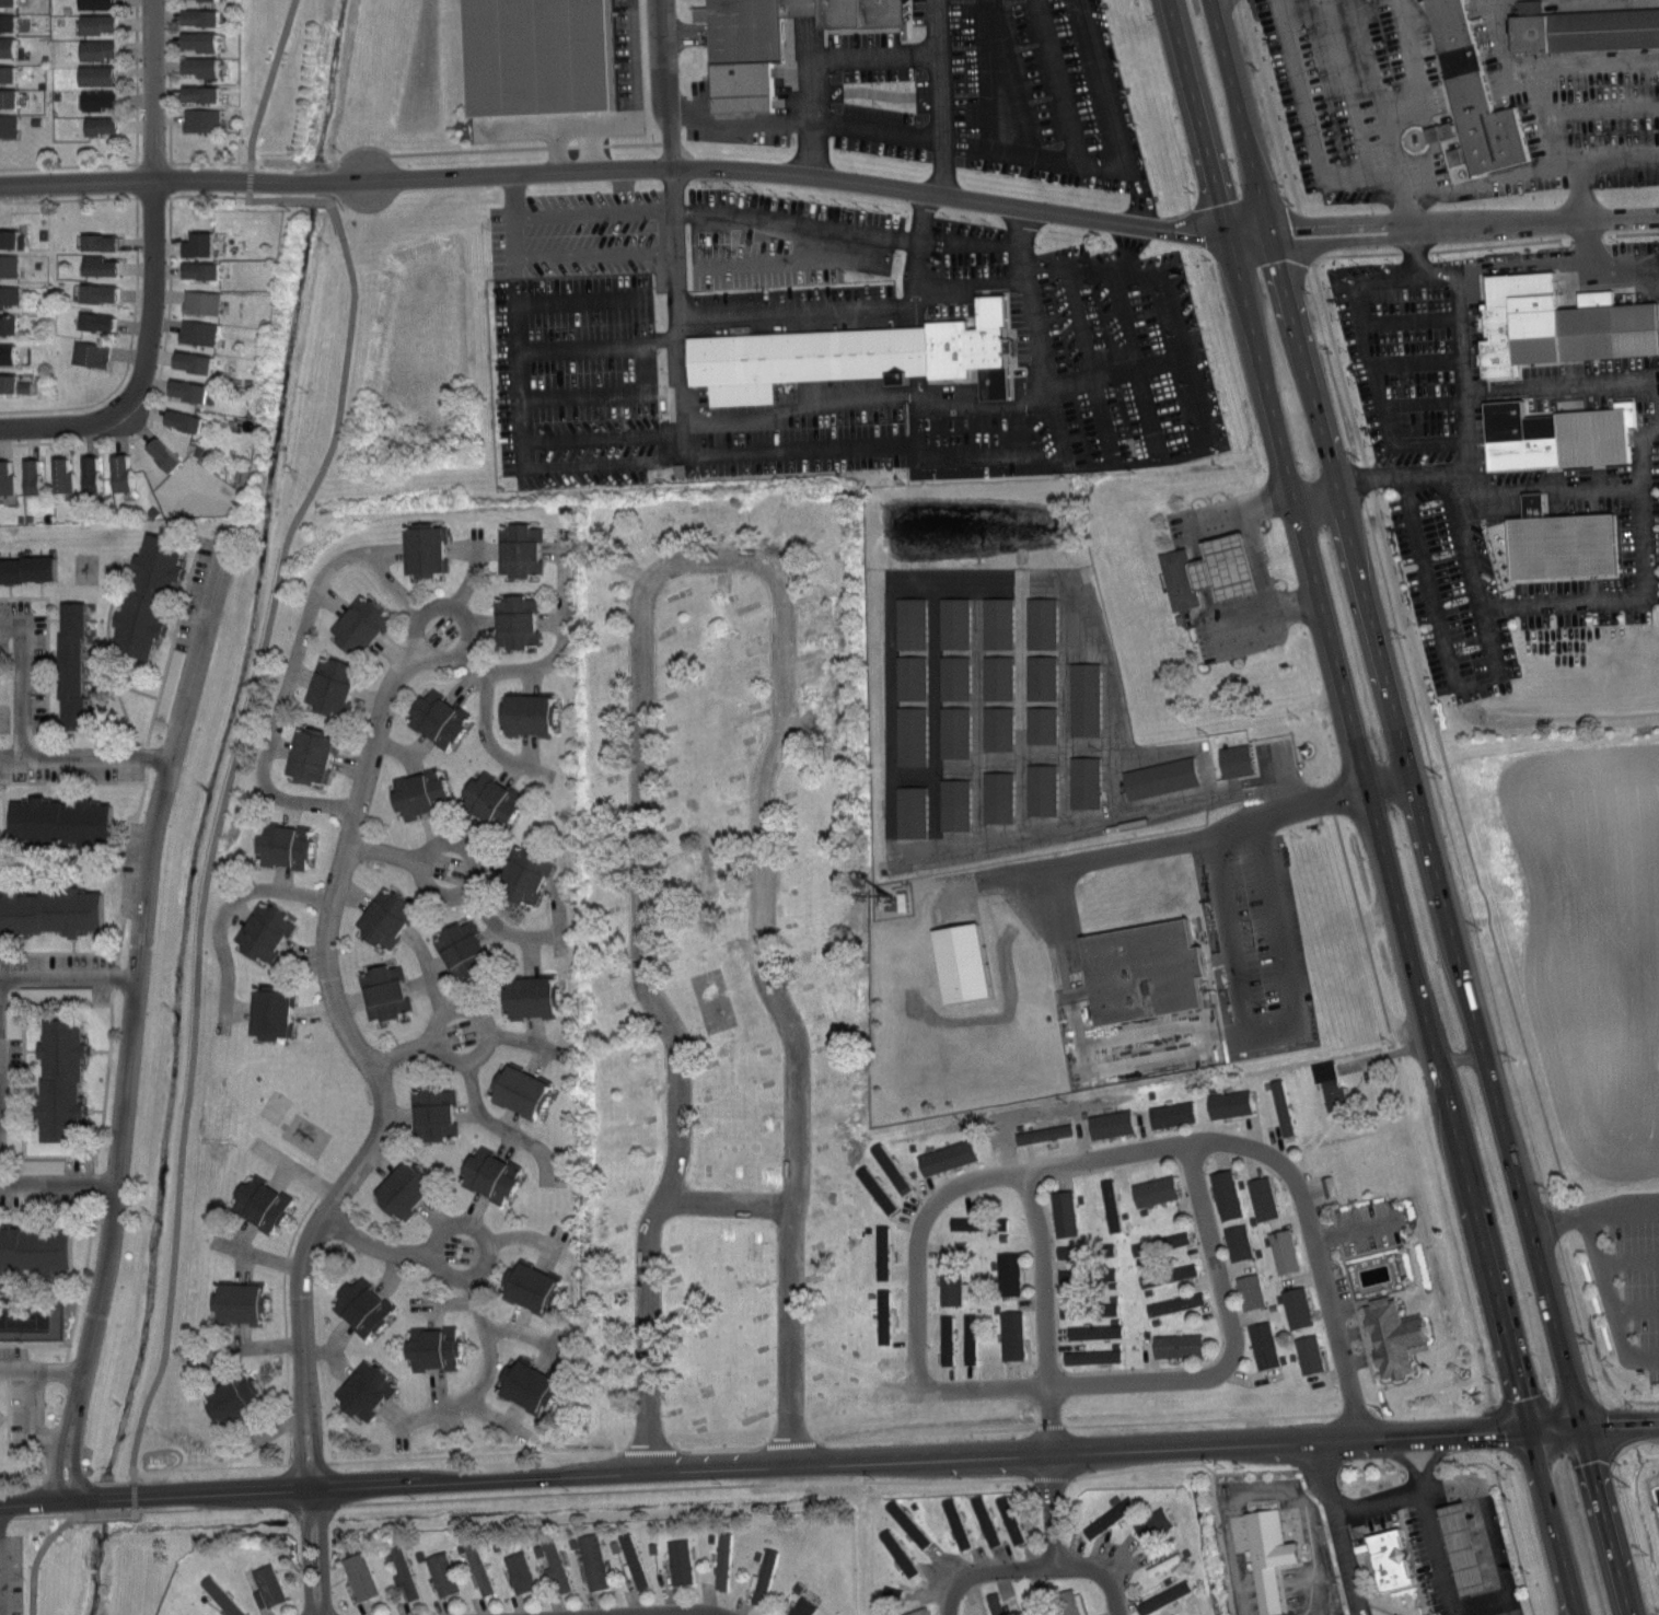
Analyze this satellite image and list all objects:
building: (7, 1)
building: (90, 4)
building: (195, 18)
building: (11, 23)
building: (91, 24)
building: (1580, 28)
road: (677, 31)
building: (195, 40)
building: (766, 42)
building: (12, 47)
building: (92, 49)
building: (538, 54)
road: (871, 58)
building: (197, 67)
building: (11, 74)
building: (91, 74)
road: (137, 82)
road: (664, 83)
building: (196, 93)
road: (936, 96)
building: (11, 97)
building: (1466, 97)
building: (92, 100)
road: (810, 101)
road: (1058, 107)
road: (1401, 112)
road: (630, 113)
road: (1116, 113)
road: (170, 116)
road: (1197, 118)
building: (198, 119)
road: (1239, 119)
road: (794, 124)
building: (95, 125)
building: (9, 126)
road: (602, 143)
road: (1551, 151)
road: (427, 152)
road: (1613, 155)
road: (67, 164)
road: (637, 169)
road: (1577, 179)
road: (68, 199)
traffic signals: (1218, 199)
road: (152, 213)
road: (921, 216)
road: (1464, 226)
road: (844, 230)
traffic signals: (1194, 234)
traffic signals: (1306, 235)
building: (12, 240)
building: (96, 240)
building: (194, 242)
traffic signals: (1276, 260)
building: (97, 265)
building: (10, 266)
building: (196, 268)
road: (1278, 270)
road: (1539, 272)
road: (1622, 276)
building: (96, 291)
building: (10, 295)
road: (676, 295)
building: (198, 301)
building: (92, 319)
building: (12, 325)
building: (194, 330)
building: (1565, 333)
road: (1174, 348)
road: (1299, 349)
building: (86, 352)
road: (162, 352)
building: (11, 353)
park: (382, 353)
road: (129, 355)
building: (850, 355)
building: (188, 360)
road: (1040, 364)
building: (13, 384)
building: (182, 388)
road: (1658, 395)
road: (798, 400)
road: (518, 413)
building: (177, 418)
road: (56, 423)
road: (1467, 423)
building: (1553, 434)
building: (156, 452)
building: (86, 472)
building: (117, 473)
building: (27, 474)
building: (58, 474)
building: (5, 477)
road: (1576, 485)
building: (1557, 541)
building: (427, 549)
building: (521, 549)
road: (1258, 556)
road: (687, 557)
park: (96, 559)
building: (1222, 563)
building: (28, 568)
road: (187, 573)
building: (1177, 576)
road: (40, 589)
road: (10, 590)
building: (150, 595)
road: (113, 616)
road: (54, 618)
building: (517, 621)
building: (908, 621)
building: (951, 621)
building: (996, 621)
building: (1039, 621)
building: (361, 625)
road: (479, 628)
road: (171, 631)
road: (47, 639)
road: (173, 639)
road: (560, 639)
road: (107, 647)
road: (54, 650)
road: (294, 657)
building: (74, 665)
building: (908, 676)
building: (951, 676)
building: (995, 676)
building: (1039, 676)
road: (23, 677)
road: (1473, 681)
road: (54, 682)
building: (169, 683)
building: (336, 686)
road: (137, 690)
building: (1082, 698)
park: (5, 701)
road: (55, 712)
building: (531, 713)
park: (4, 717)
building: (441, 718)
building: (1039, 723)
building: (996, 727)
building: (951, 731)
building: (908, 734)
road: (485, 737)
building: (315, 755)
road: (85, 757)
building: (1232, 759)
building: (1157, 776)
building: (1082, 780)
road: (73, 781)
road: (39, 788)
building: (1039, 788)
road: (88, 789)
road: (225, 794)
building: (422, 794)
building: (995, 795)
building: (494, 800)
building: (951, 803)
building: (908, 810)
building: (65, 823)
road: (1164, 845)
building: (287, 846)
road: (383, 852)
road: (88, 858)
road: (123, 865)
road: (60, 867)
building: (525, 873)
road: (473, 875)
road: (225, 908)
building: (51, 911)
building: (387, 918)
road: (1403, 926)
building: (266, 932)
road: (74, 943)
road: (59, 952)
building: (464, 952)
building: (955, 961)
building: (1139, 969)
road: (429, 971)
road: (68, 972)
building: (386, 991)
building: (53, 994)
building: (534, 997)
road: (1470, 1006)
road: (776, 1008)
building: (274, 1012)
road: (130, 1027)
road: (518, 1037)
road: (670, 1037)
road: (101, 1049)
road: (403, 1052)
road: (467, 1054)
road: (24, 1071)
building: (63, 1080)
road: (106, 1081)
building: (1325, 1082)
building: (523, 1090)
building: (1231, 1103)
park: (276, 1105)
building: (1283, 1106)
road: (94, 1108)
building: (1171, 1113)
building: (436, 1115)
park: (267, 1116)
road: (489, 1120)
building: (1112, 1123)
building: (1053, 1137)
road: (375, 1140)
road: (1124, 1155)
building: (948, 1157)
building: (887, 1166)
road: (298, 1169)
building: (492, 1175)
road: (58, 1184)
road: (968, 1184)
building: (1327, 1184)
building: (873, 1188)
building: (1156, 1189)
building: (408, 1190)
building: (1228, 1194)
building: (1264, 1196)
road: (724, 1199)
building: (264, 1202)
building: (1107, 1205)
road: (1591, 1207)
road: (47, 1208)
building: (1065, 1211)
road: (47, 1216)
building: (964, 1222)
building: (997, 1223)
road: (484, 1242)
building: (1161, 1242)
building: (1239, 1242)
road: (375, 1244)
road: (1313, 1245)
building: (37, 1247)
building: (1087, 1250)
building: (1284, 1251)
building: (879, 1252)
road: (1627, 1257)
building: (1010, 1273)
building: (1087, 1273)
building: (1170, 1274)
road: (50, 1280)
road: (84, 1280)
building: (535, 1286)
building: (948, 1288)
building: (1251, 1290)
road: (1609, 1297)
building: (1176, 1302)
building: (243, 1303)
building: (1298, 1305)
road: (1635, 1305)
building: (364, 1306)
building: (1089, 1310)
road: (1044, 1312)
building: (881, 1315)
park: (32, 1318)
road: (285, 1324)
road: (518, 1327)
building: (1094, 1331)
building: (1013, 1335)
building: (1394, 1336)
building: (967, 1338)
road: (485, 1339)
building: (943, 1339)
road: (35, 1344)
building: (1265, 1344)
building: (1177, 1345)
building: (436, 1348)
building: (1311, 1353)
building: (1092, 1356)
road: (917, 1360)
road: (1222, 1367)
road: (40, 1373)
building: (532, 1385)
building: (366, 1392)
building: (236, 1402)
road: (455, 1402)
road: (9, 1415)
road: (4, 1416)
road: (30, 1420)
road: (1129, 1422)
road: (1593, 1426)
traffic signals: (1579, 1427)
traffic signals: (1529, 1428)
road: (1184, 1444)
road: (1407, 1459)
road: (1431, 1460)
road: (270, 1464)
road: (1378, 1467)
road: (1260, 1469)
road: (419, 1484)
road: (1267, 1488)
road: (573, 1492)
road: (1378, 1500)
road: (1506, 1508)
road: (1052, 1509)
road: (173, 1510)
road: (38, 1515)
building: (1106, 1517)
building: (1007, 1519)
building: (983, 1520)
building: (905, 1522)
building: (953, 1523)
building: (1150, 1523)
road: (1341, 1526)
building: (1460, 1546)
building: (895, 1552)
road: (1435, 1552)
building: (1265, 1556)
building: (1384, 1556)
building: (635, 1559)
building: (594, 1560)
building: (724, 1560)
building: (682, 1561)
building: (1165, 1562)
building: (479, 1567)
building: (557, 1568)
road: (1029, 1568)
building: (523, 1572)
building: (445, 1573)
building: (406, 1575)
building: (362, 1576)
building: (766, 1576)
building: (269, 1588)
road: (1114, 1593)
building: (1164, 1593)
building: (224, 1596)
road: (944, 1597)
building: (1068, 1602)
building: (997, 1603)
building: (804, 1606)
building: (915, 1611)
building: (1170, 1614)
road: (1333, 1614)

